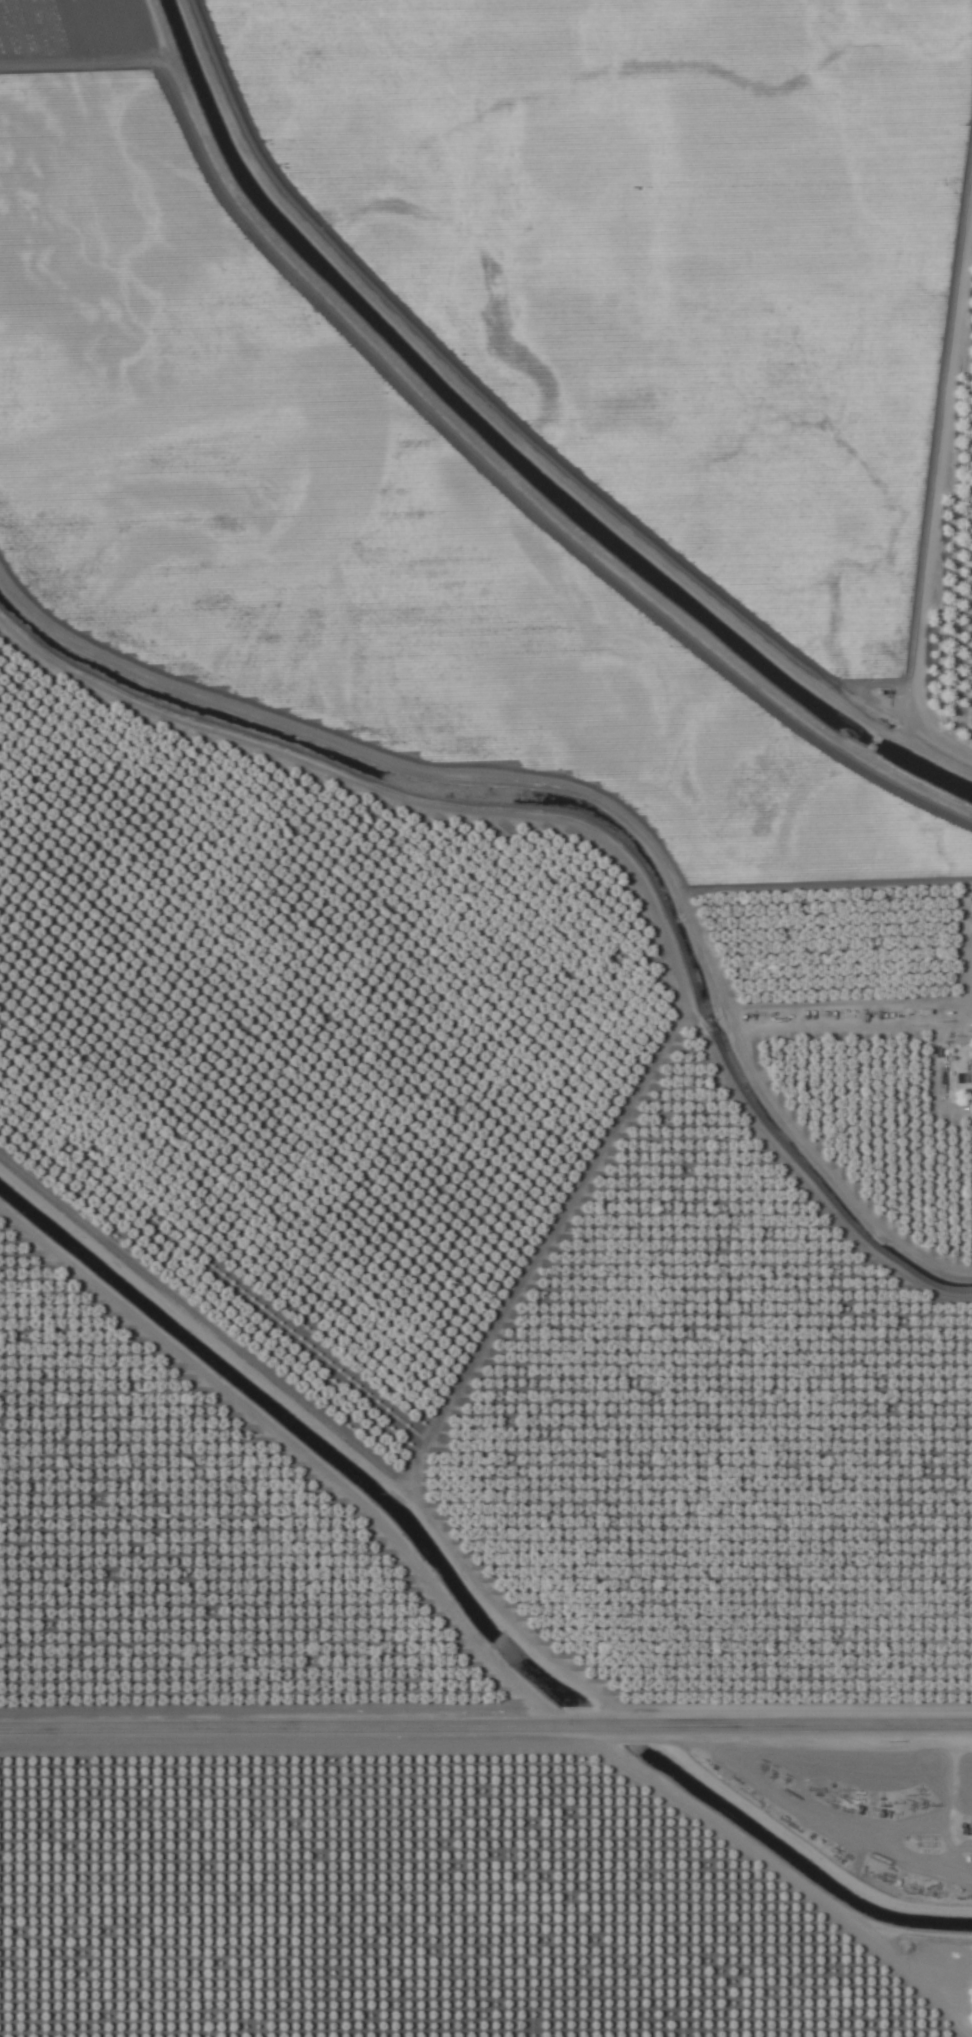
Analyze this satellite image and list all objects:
building: (10, 728)
building: (145, 817)
building: (274, 891)
building: (430, 987)
crop: (486, 1018)
building: (968, 1079)
building: (255, 1157)
road: (486, 1715)
building: (924, 1805)

